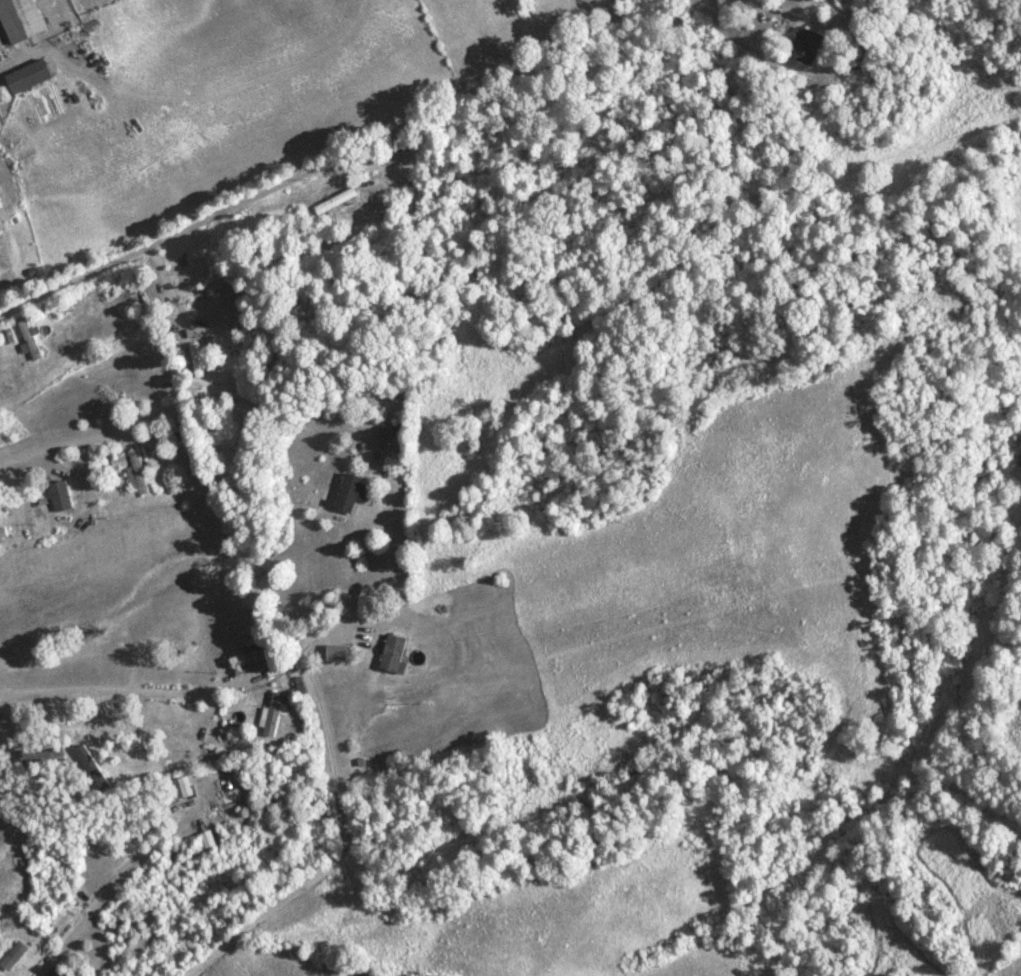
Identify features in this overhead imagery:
building: (20, 19)
building: (805, 45)
building: (28, 76)
road: (303, 136)
building: (29, 339)
building: (197, 360)
building: (138, 472)
building: (348, 493)
building: (60, 495)
building: (1, 537)
building: (392, 653)
building: (273, 715)
building: (42, 755)
building: (182, 787)
building: (1, 844)

